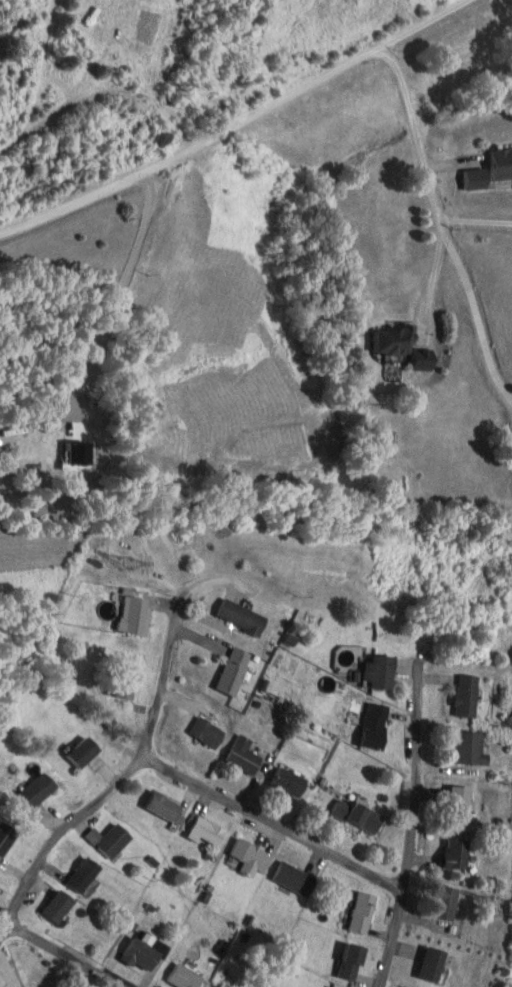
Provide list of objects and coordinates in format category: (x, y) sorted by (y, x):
road: (237, 123)
building: (163, 139)
building: (501, 163)
building: (393, 339)
power tower: (125, 563)
building: (136, 614)
building: (243, 616)
building: (234, 671)
building: (382, 671)
building: (125, 683)
building: (467, 696)
building: (375, 726)
building: (206, 732)
building: (470, 748)
building: (84, 752)
building: (243, 754)
road: (122, 774)
building: (288, 781)
building: (40, 789)
building: (460, 803)
building: (166, 807)
building: (358, 815)
road: (268, 822)
road: (408, 823)
building: (207, 831)
building: (8, 835)
building: (111, 840)
building: (457, 853)
building: (251, 856)
building: (84, 874)
building: (294, 878)
building: (447, 903)
building: (59, 906)
power tower: (509, 908)
building: (363, 912)
road: (61, 953)
building: (142, 954)
building: (351, 962)
building: (432, 964)
building: (185, 977)
building: (220, 986)

